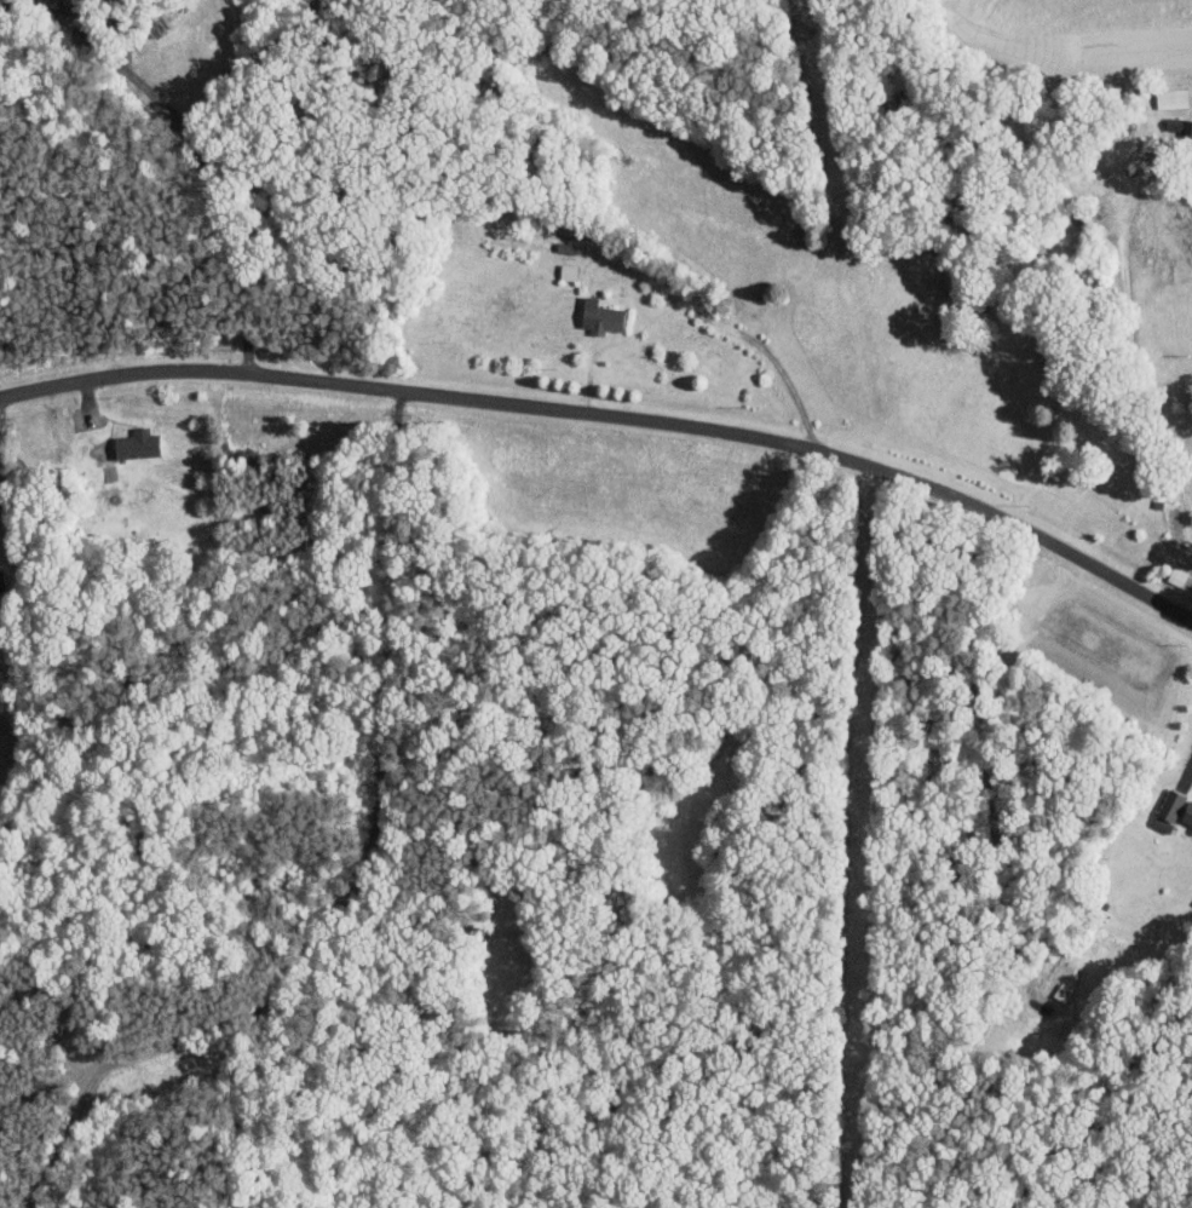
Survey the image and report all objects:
building: (51, 0)
building: (1169, 97)
road: (205, 166)
building: (566, 272)
building: (599, 316)
road: (612, 416)
building: (136, 444)
building: (1, 580)

